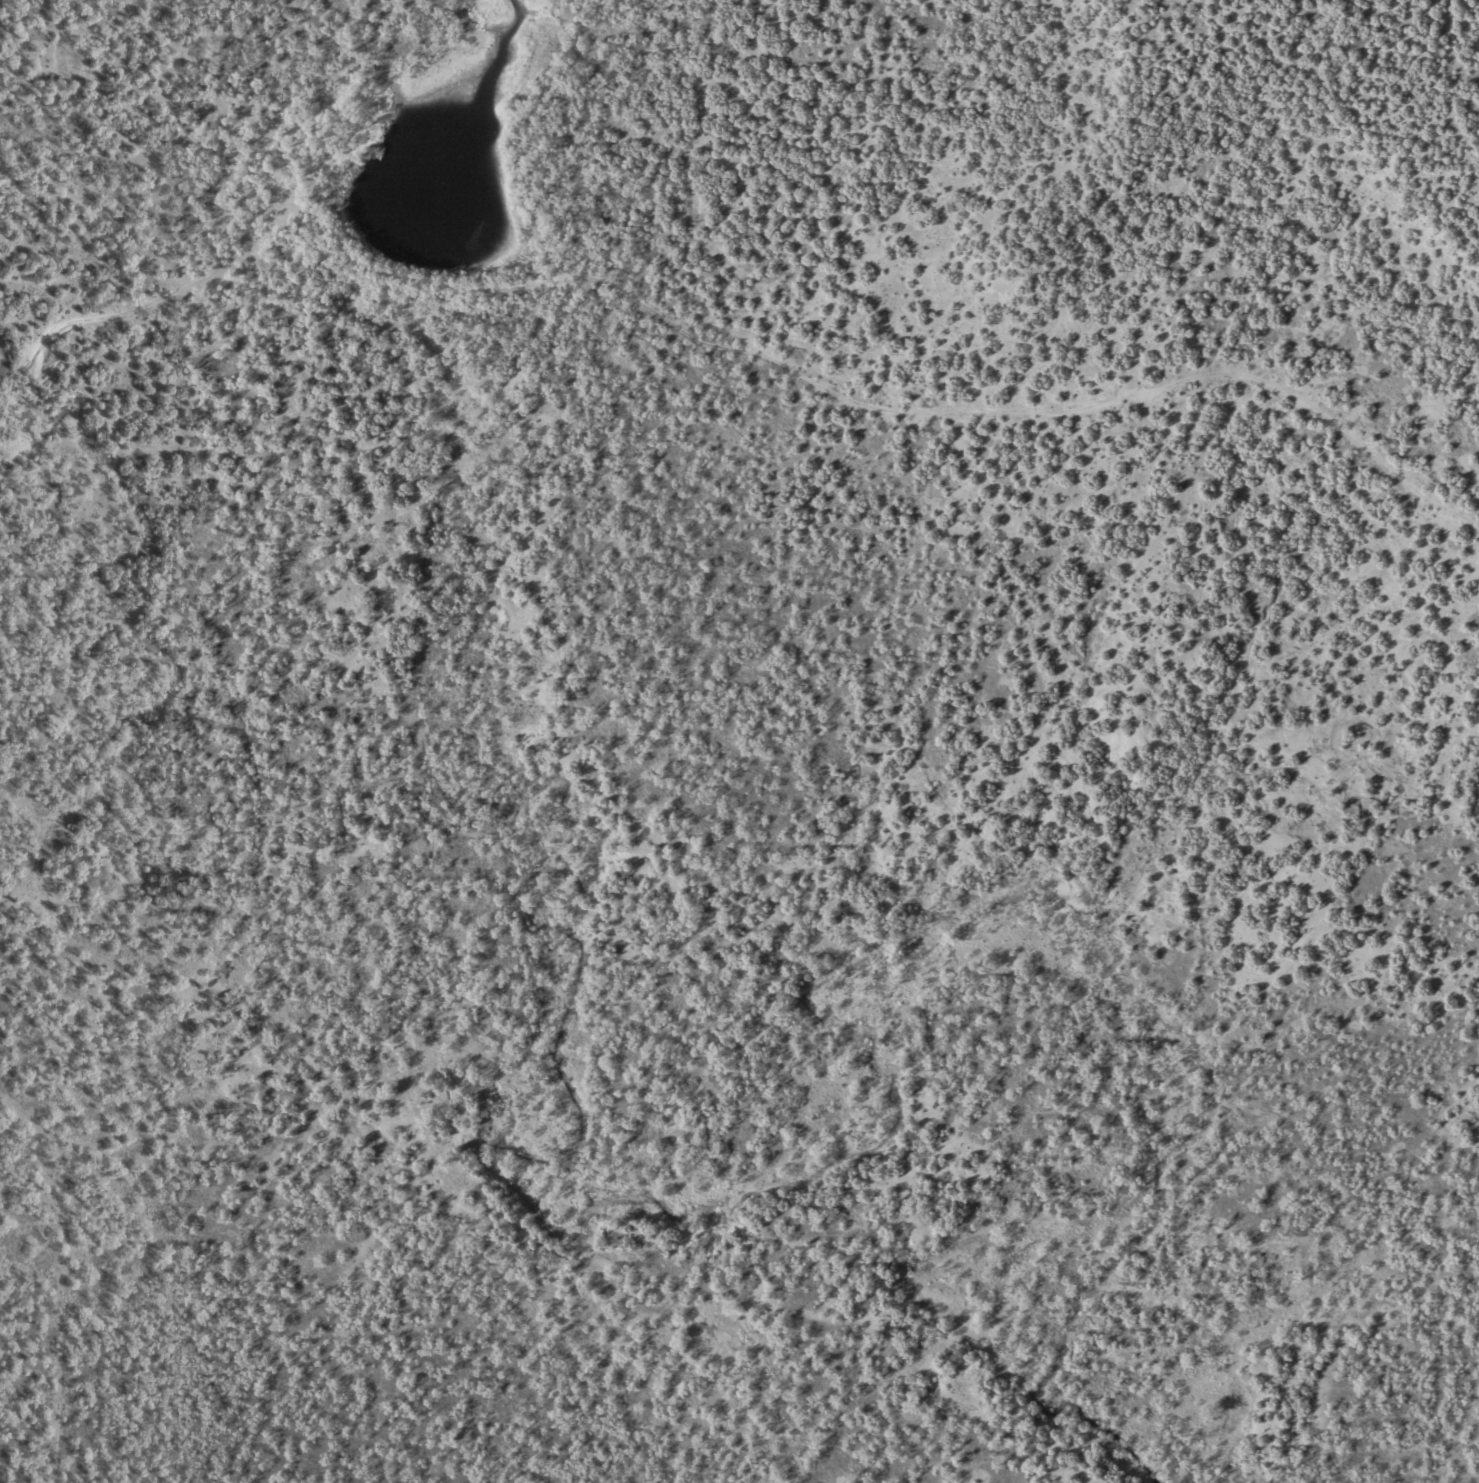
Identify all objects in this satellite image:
road: (644, 313)
road: (82, 1276)

